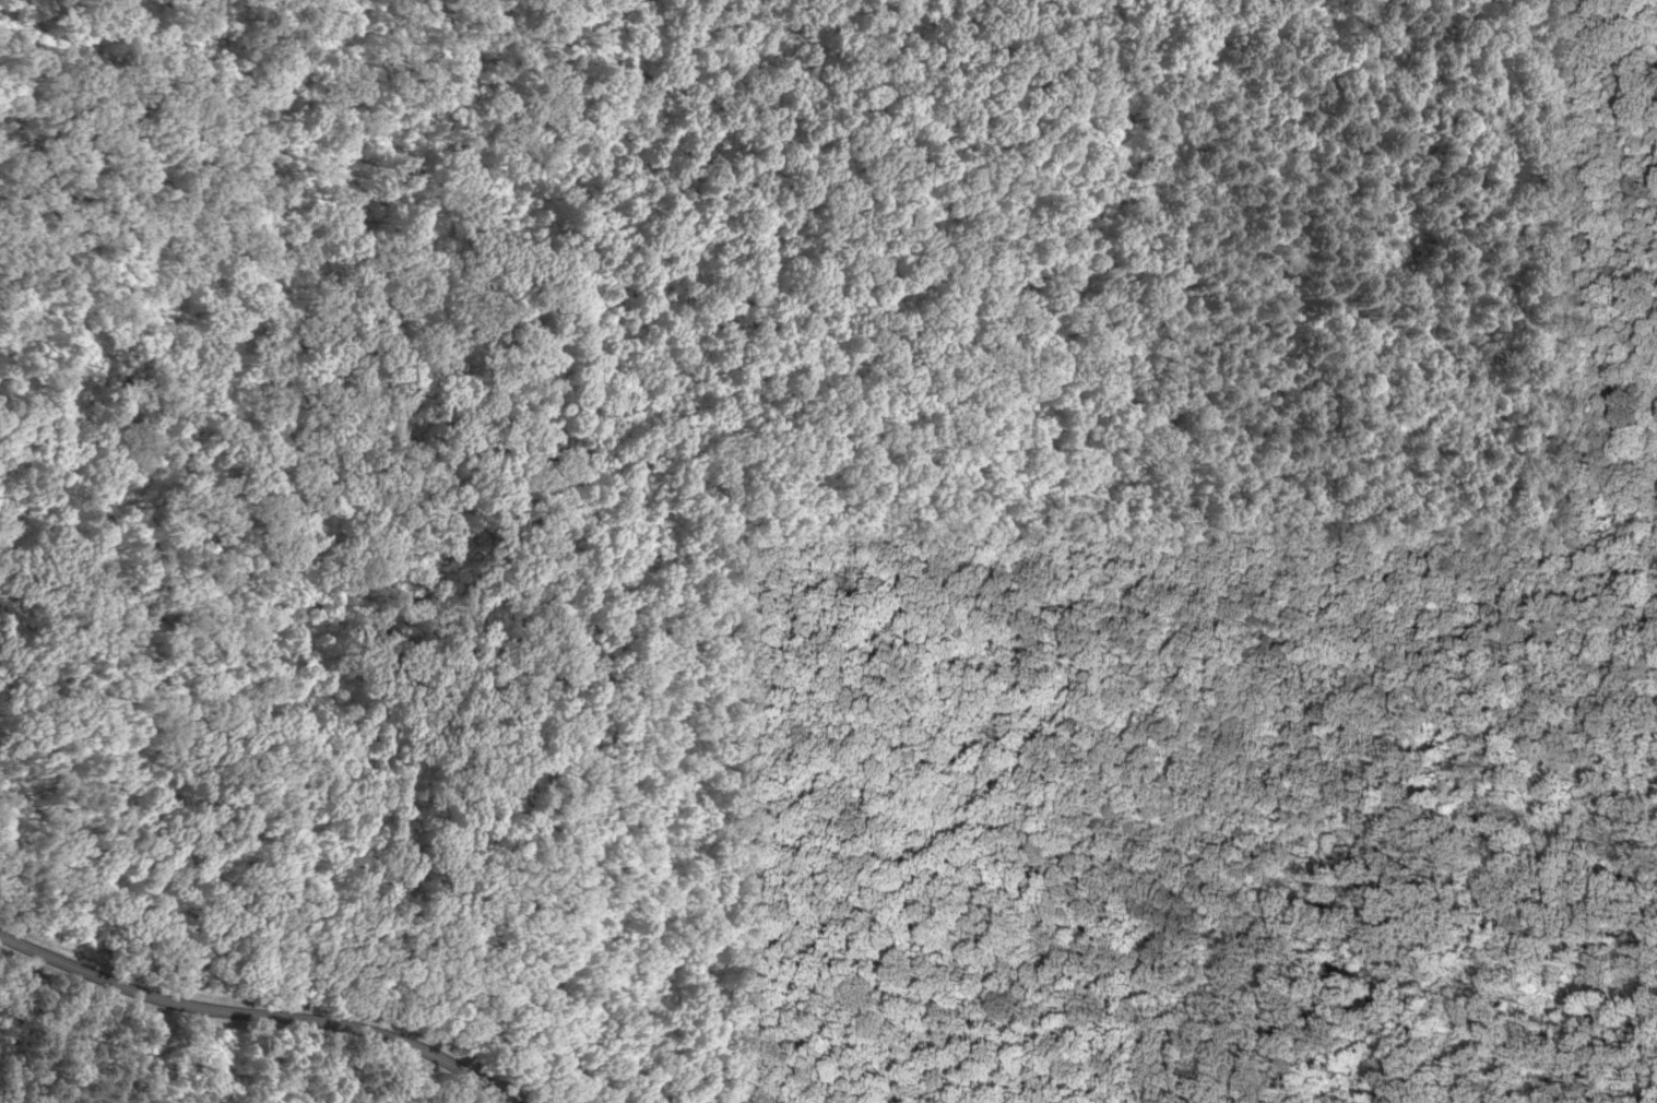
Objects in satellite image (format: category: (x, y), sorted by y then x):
road: (1309, 568)
road: (261, 1012)

